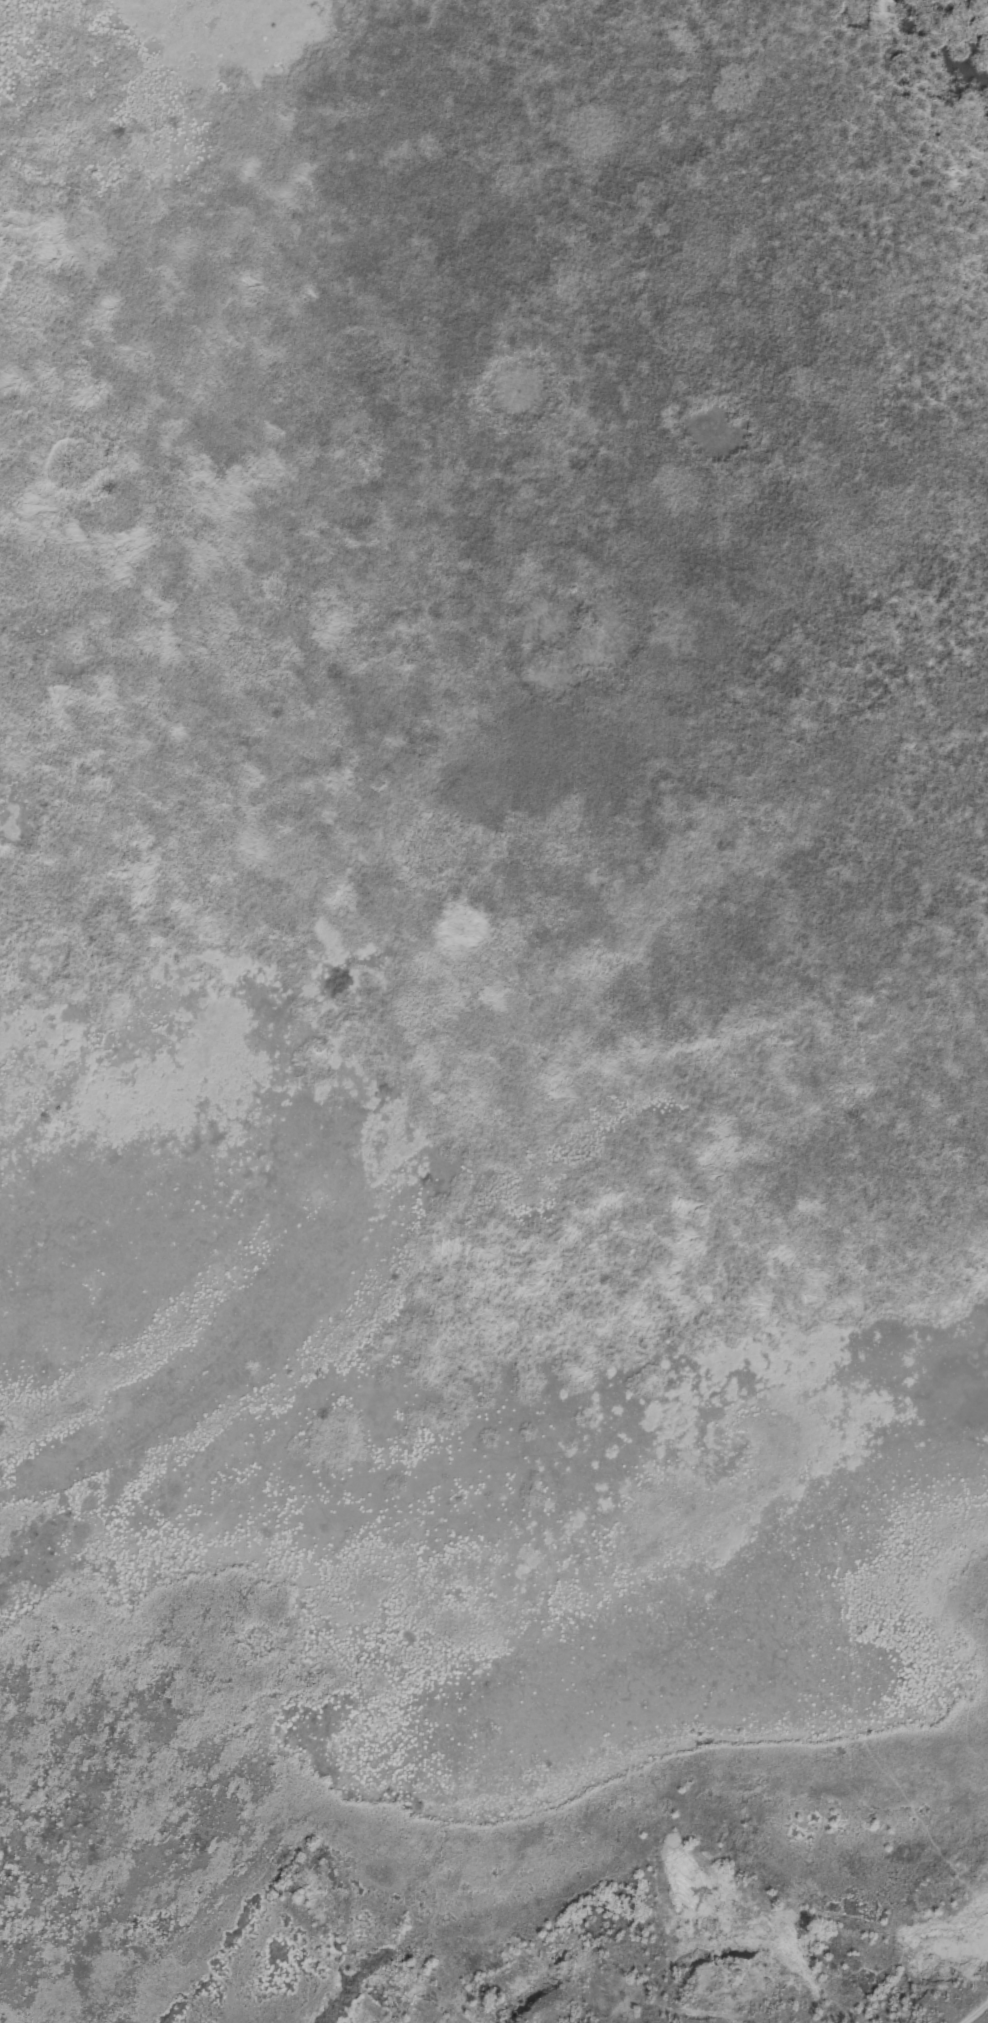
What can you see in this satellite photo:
quarry: (742, 1956)
road: (977, 2013)
road: (720, 2018)

